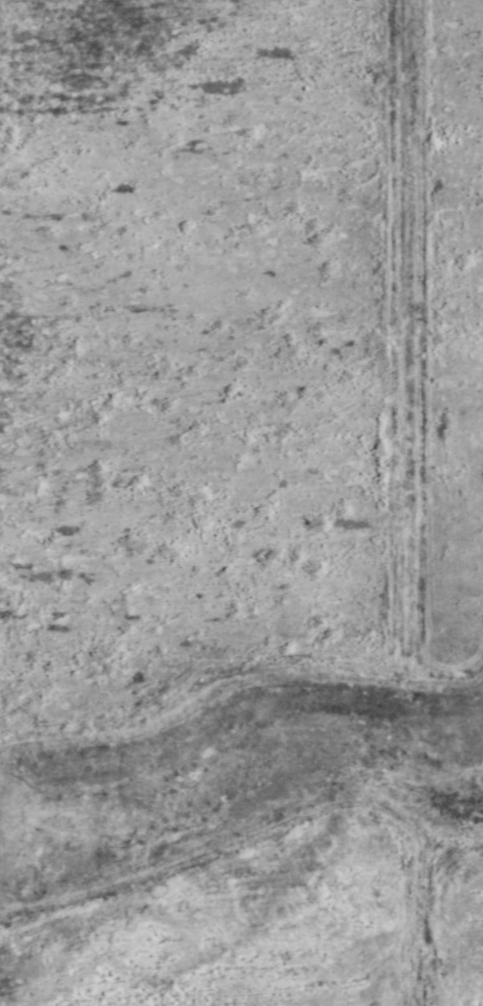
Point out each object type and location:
crop: (241, 503)

